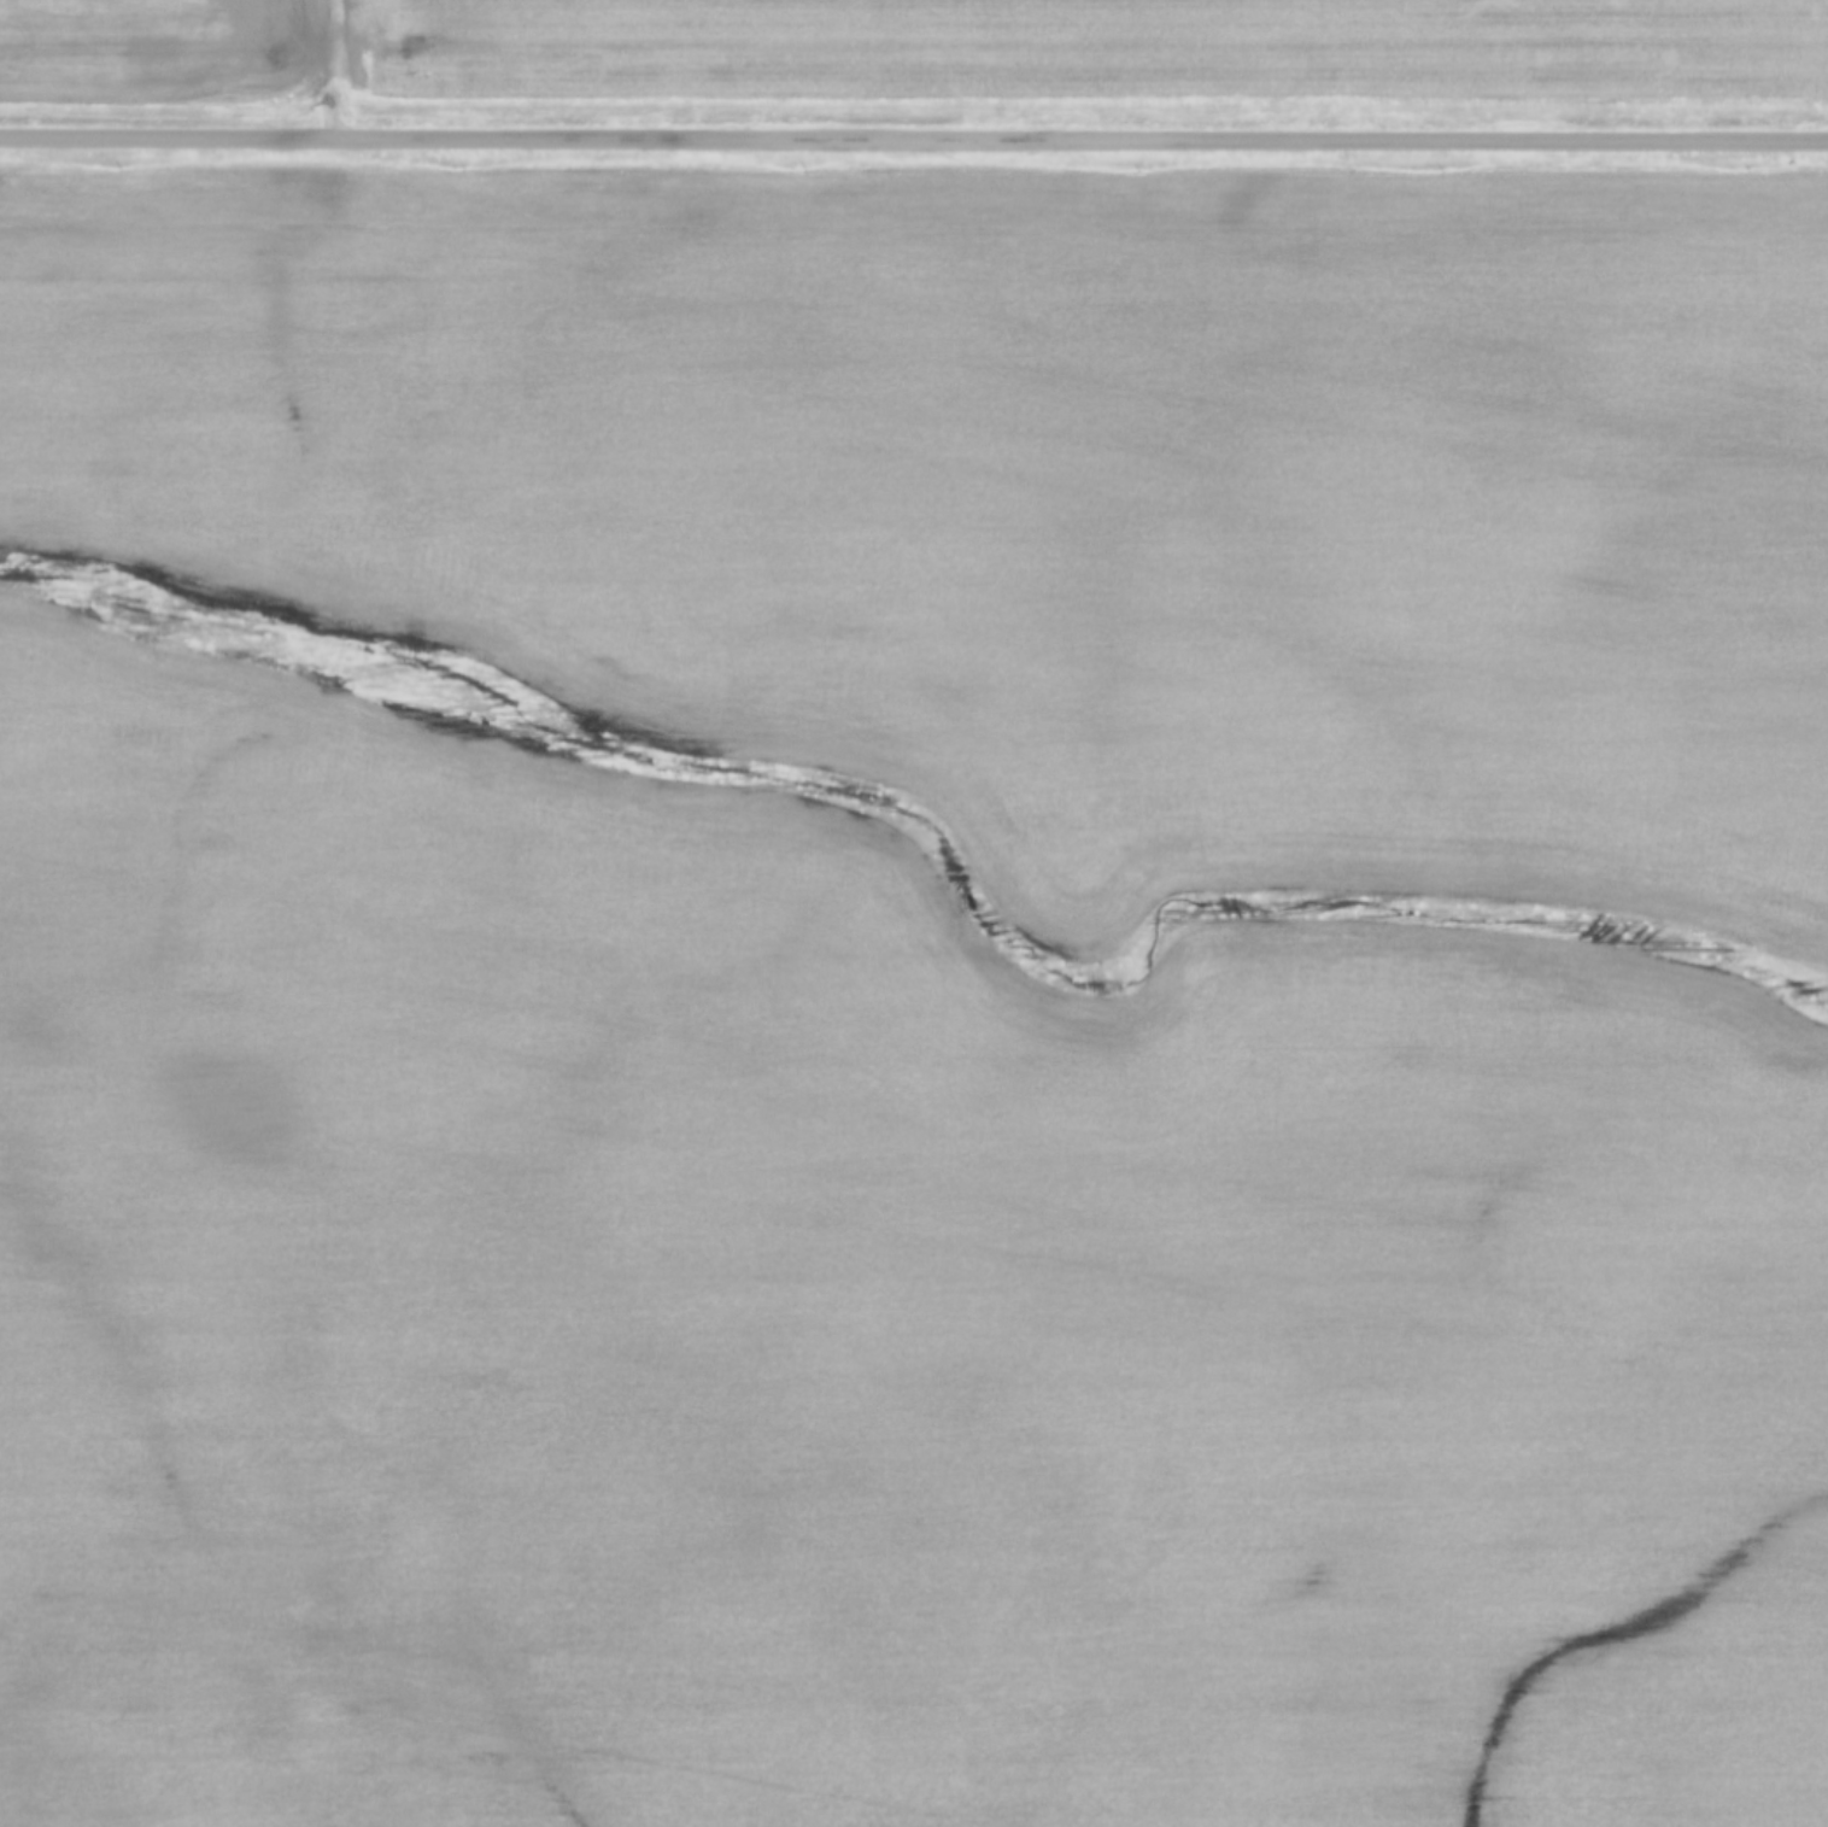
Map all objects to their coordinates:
road: (914, 140)

